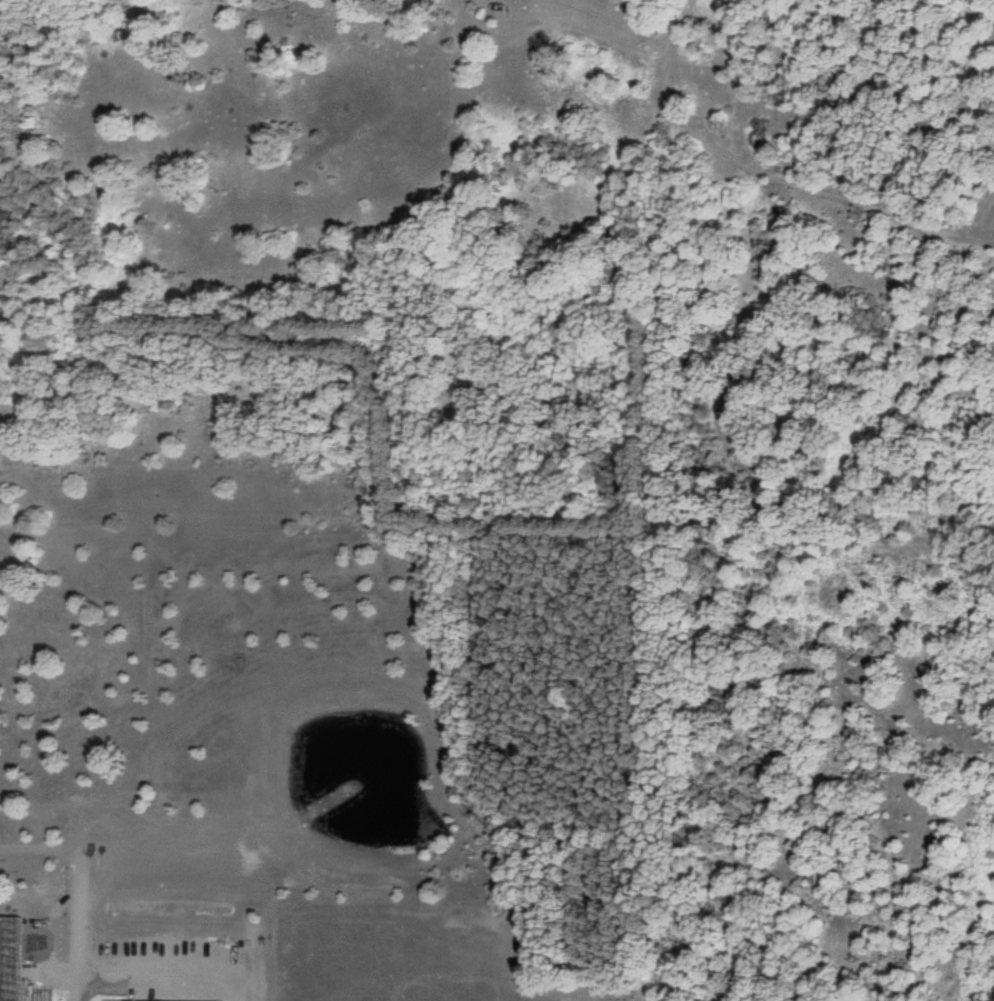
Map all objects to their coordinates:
road: (156, 977)

